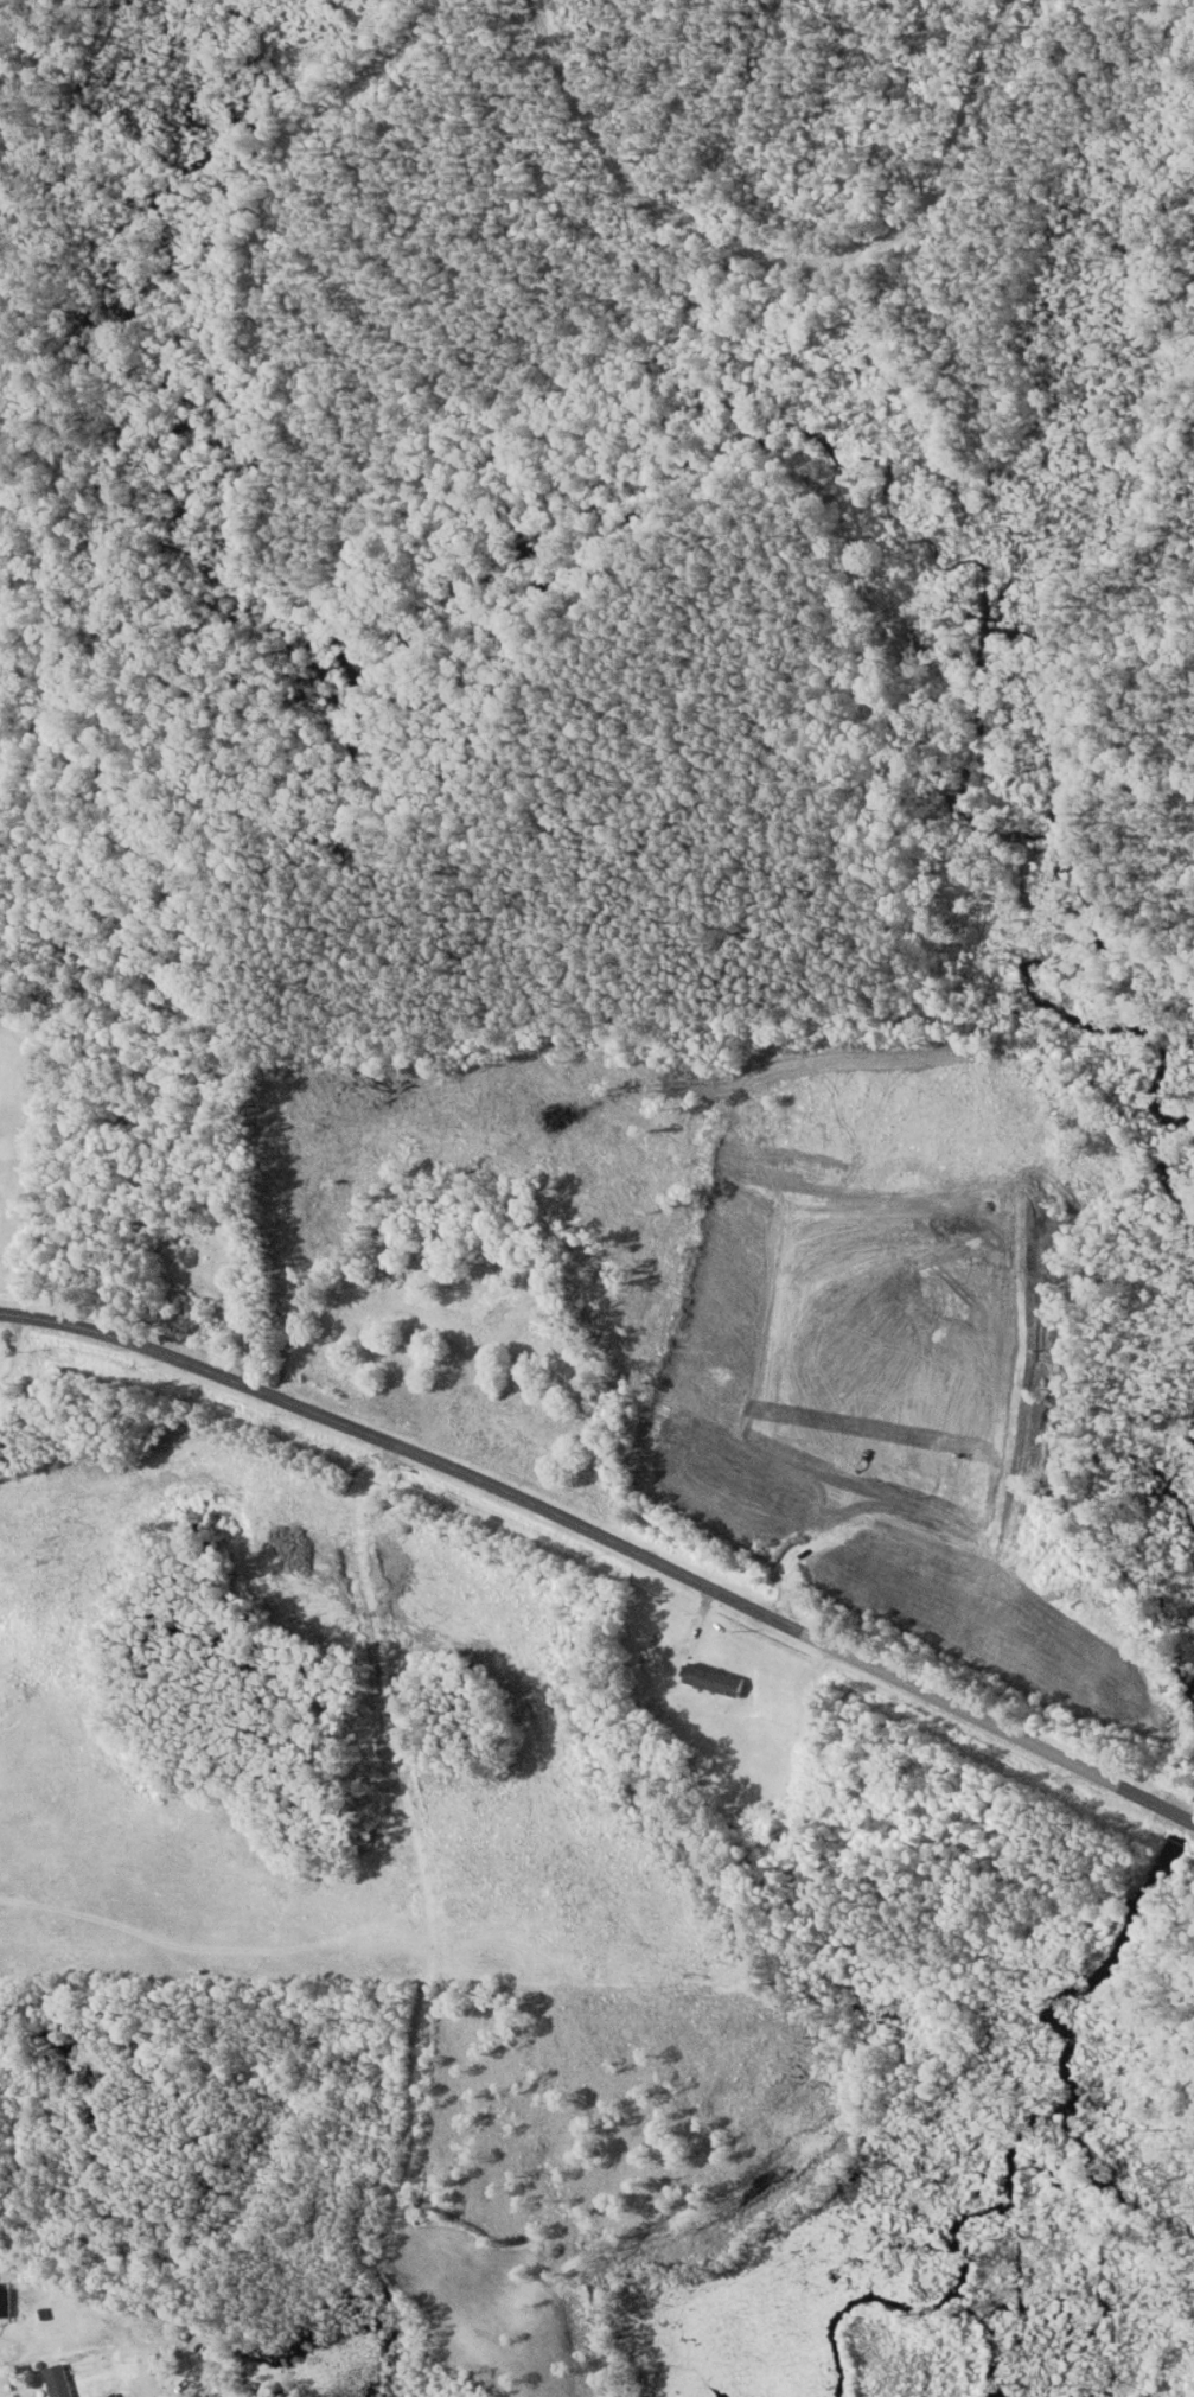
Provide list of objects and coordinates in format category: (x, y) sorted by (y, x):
building: (194, 1288)
building: (480, 1294)
road: (606, 1542)
building: (714, 1679)
building: (4, 2302)
building: (7, 2351)
building: (57, 2380)
road: (0, 2396)

